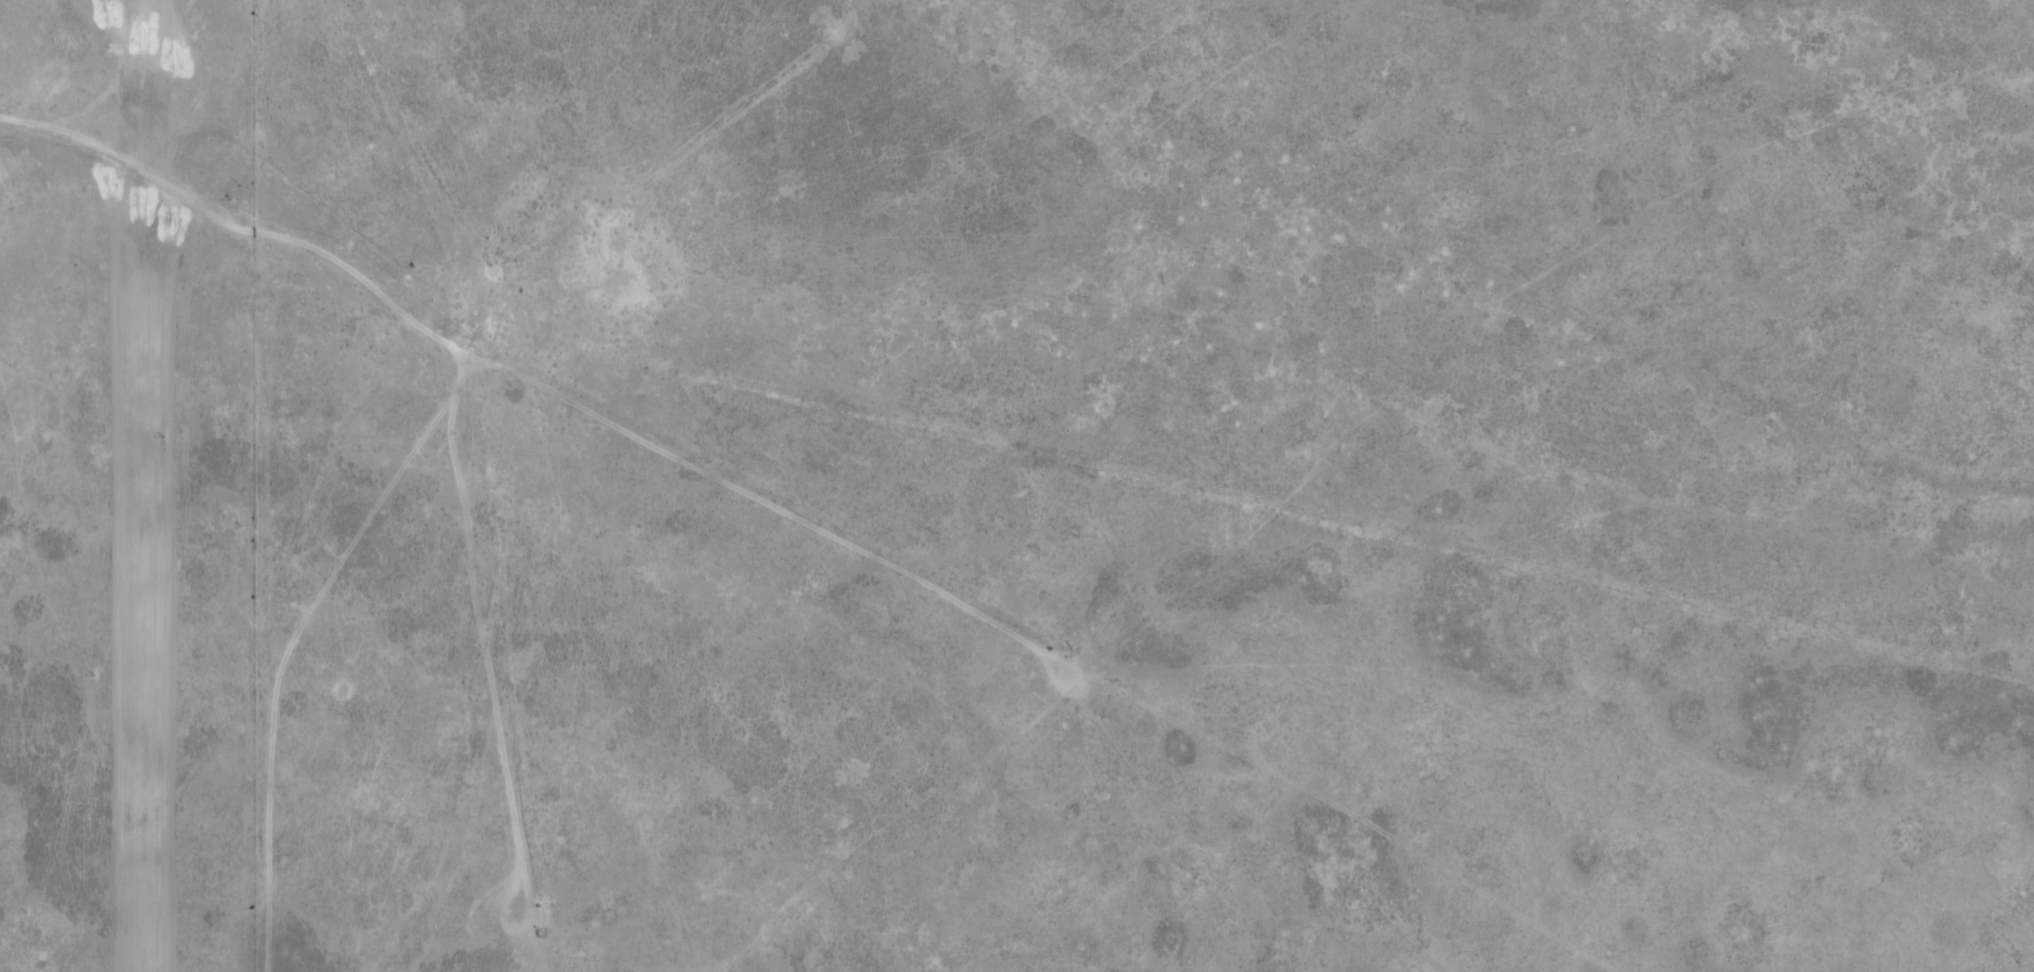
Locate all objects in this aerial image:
road: (309, 246)

